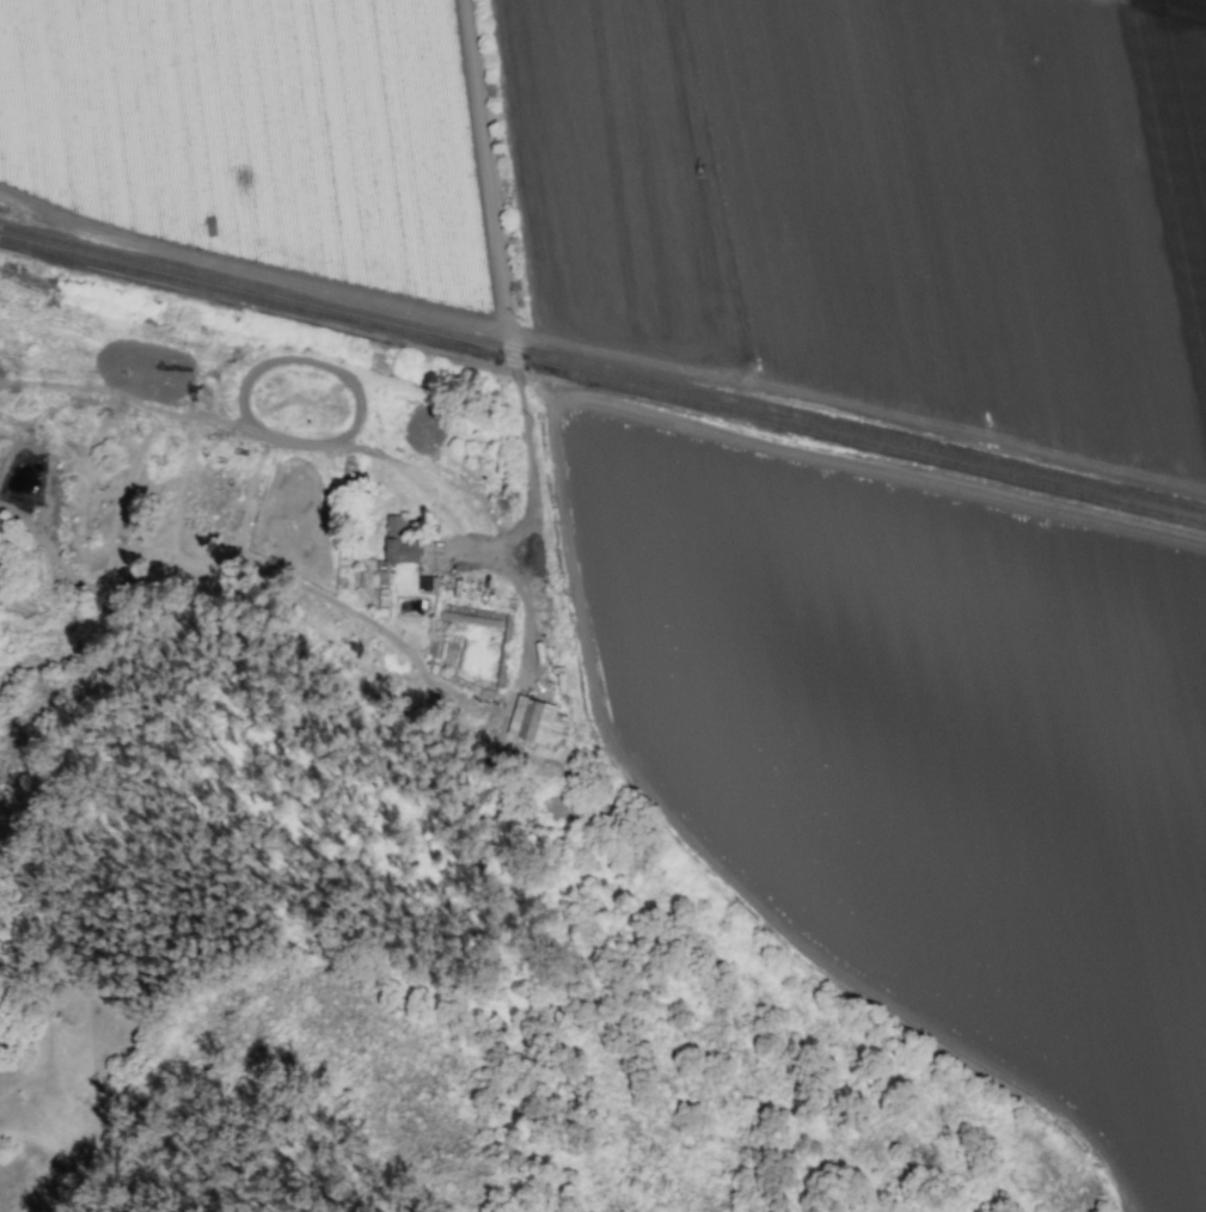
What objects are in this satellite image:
road: (1003, 45)
crop: (686, 185)
road: (844, 200)
road: (501, 258)
railway: (602, 369)
railway: (602, 380)
road: (852, 412)
building: (396, 524)
building: (402, 551)
building: (427, 583)
building: (531, 720)
crop: (922, 747)

